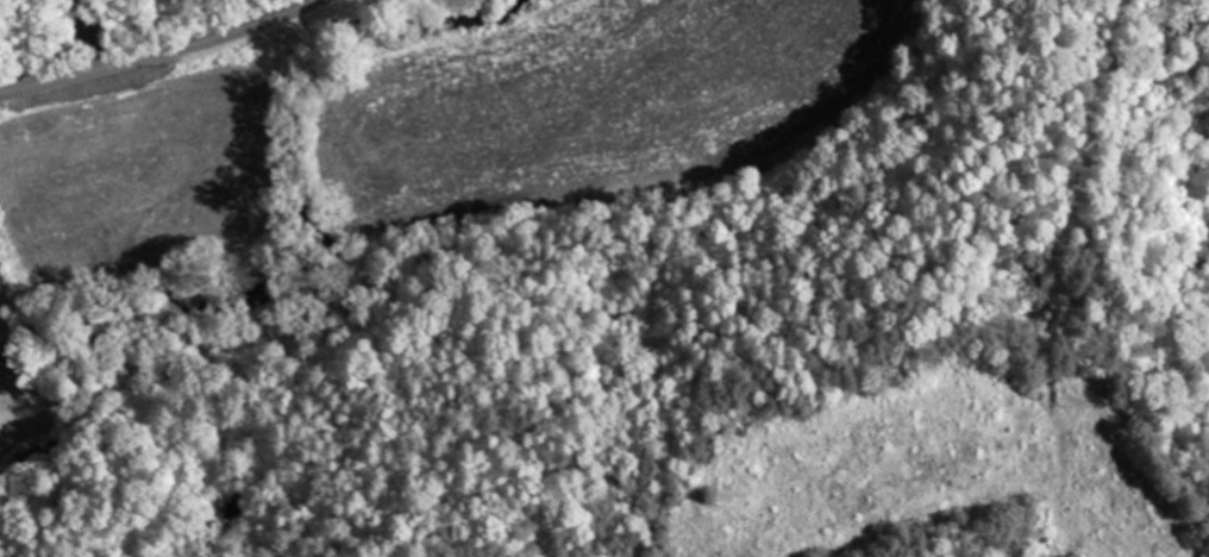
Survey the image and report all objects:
road: (161, 55)

